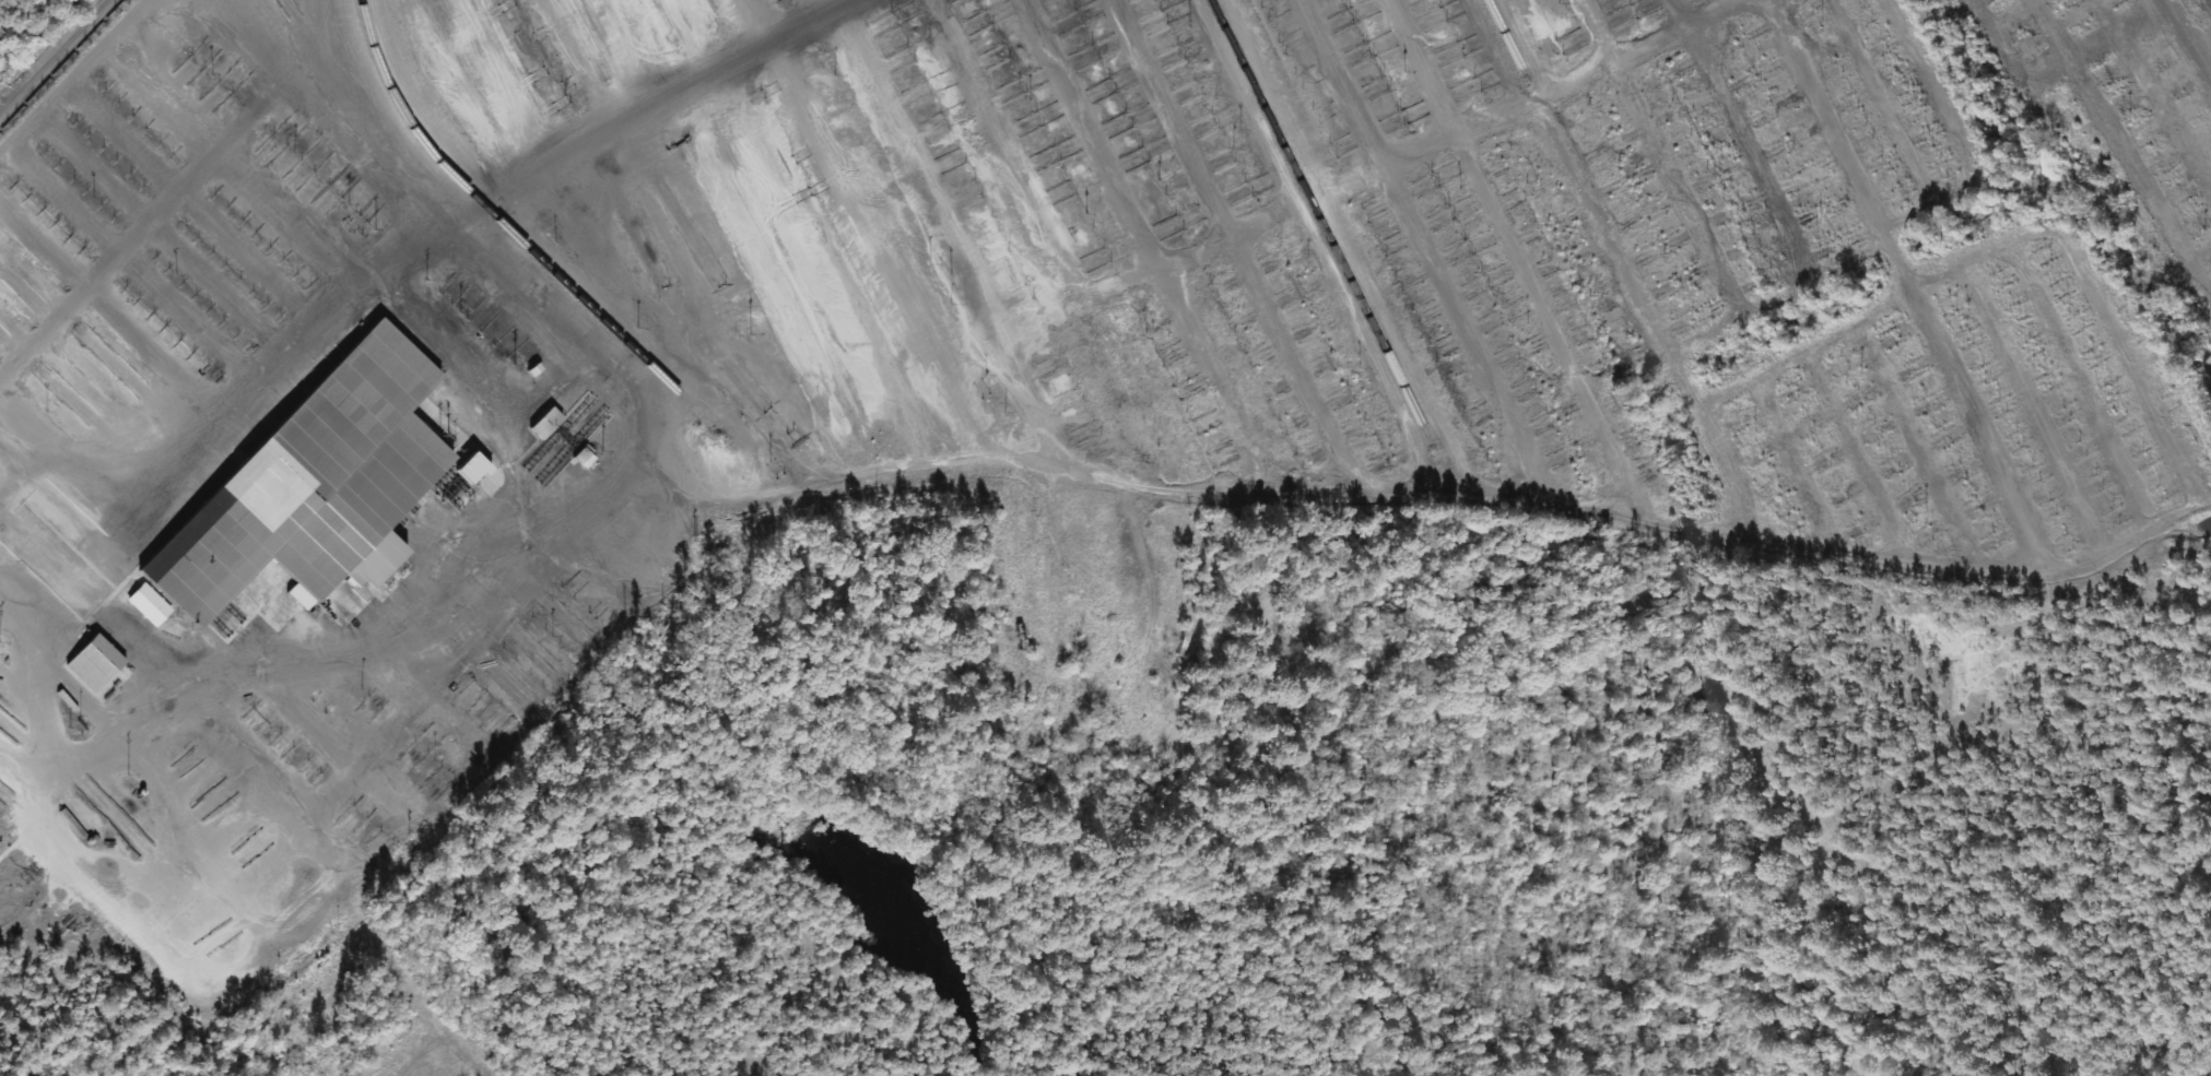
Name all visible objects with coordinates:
railway: (1506, 40)
railway: (62, 66)
building: (235, 79)
building: (282, 138)
building: (317, 158)
building: (337, 191)
railway: (1319, 223)
railway: (510, 232)
building: (584, 458)
building: (471, 468)
building: (314, 486)
building: (149, 604)
building: (95, 662)
building: (444, 781)

